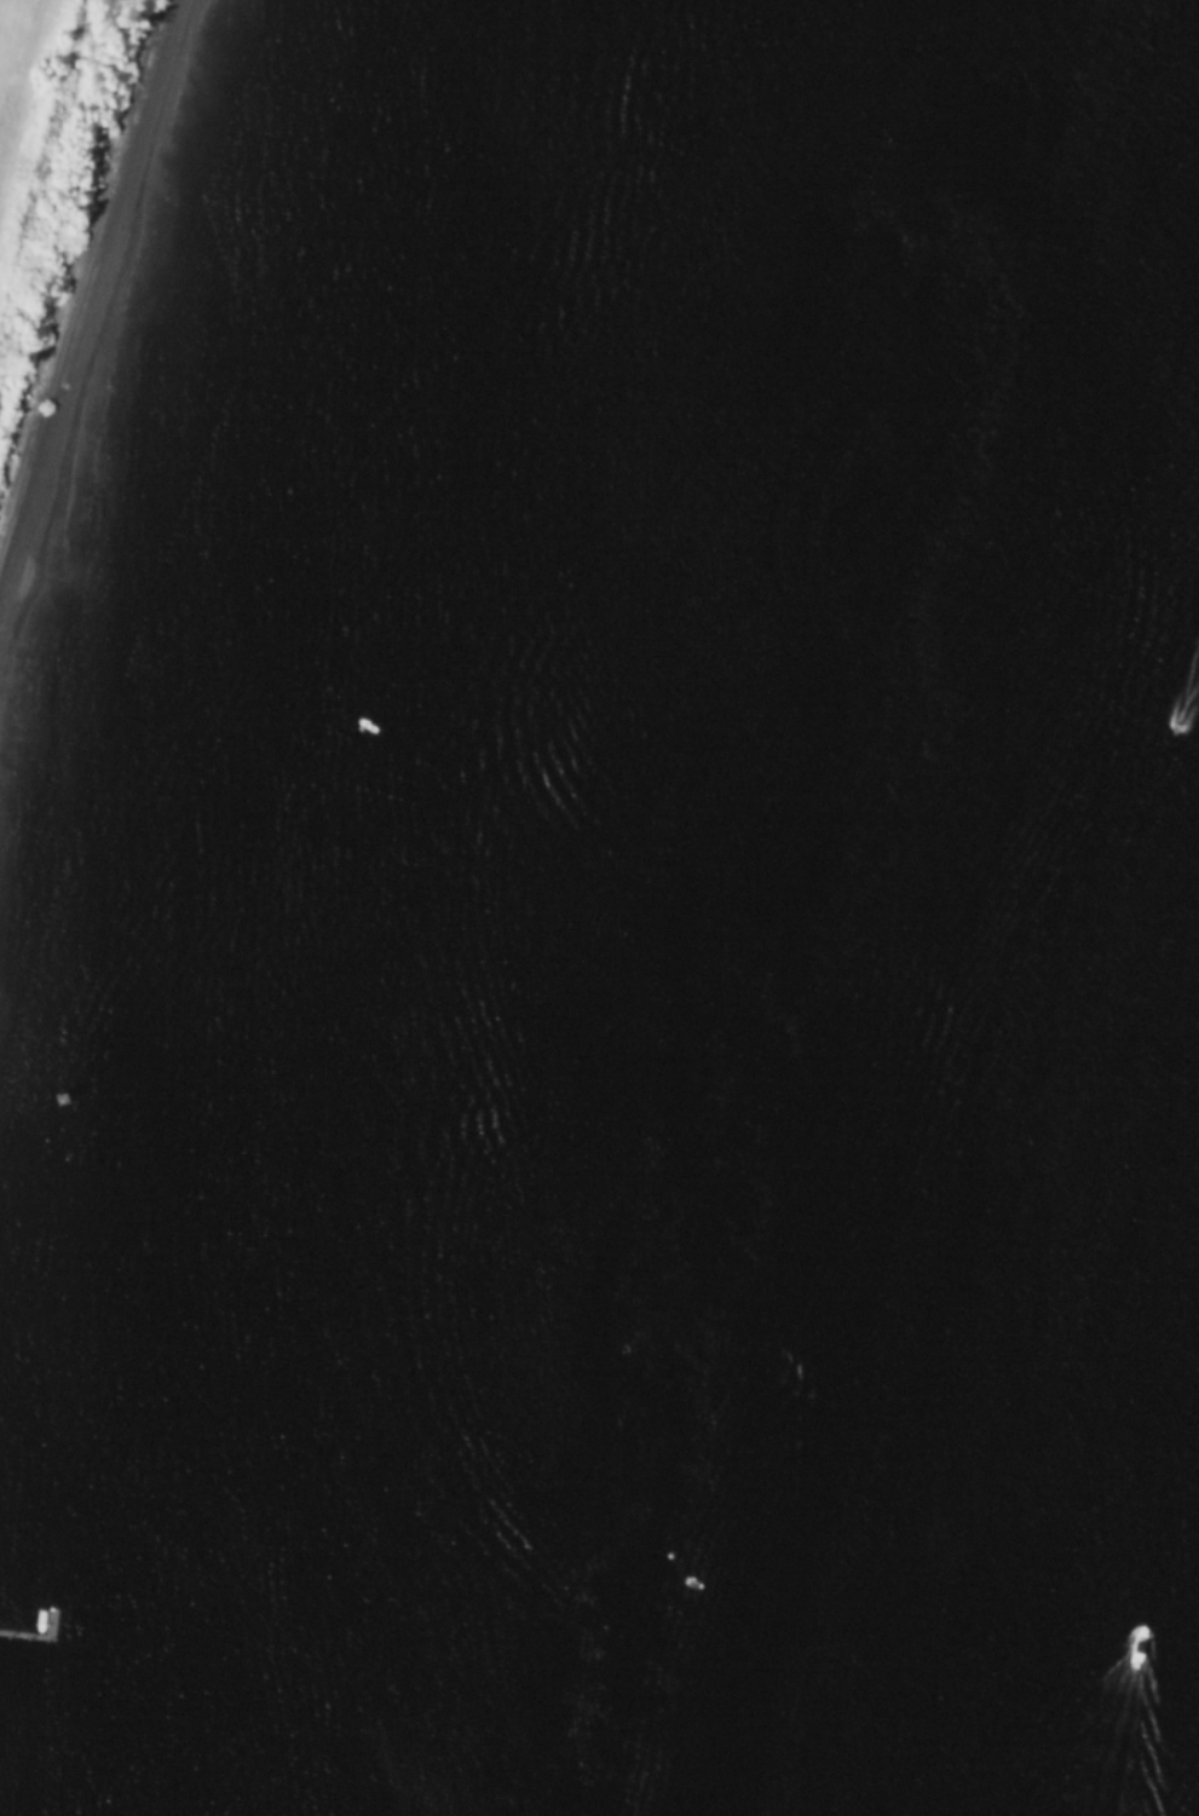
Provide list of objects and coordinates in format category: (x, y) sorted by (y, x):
river: (845, 947)
pier: (38, 1635)

